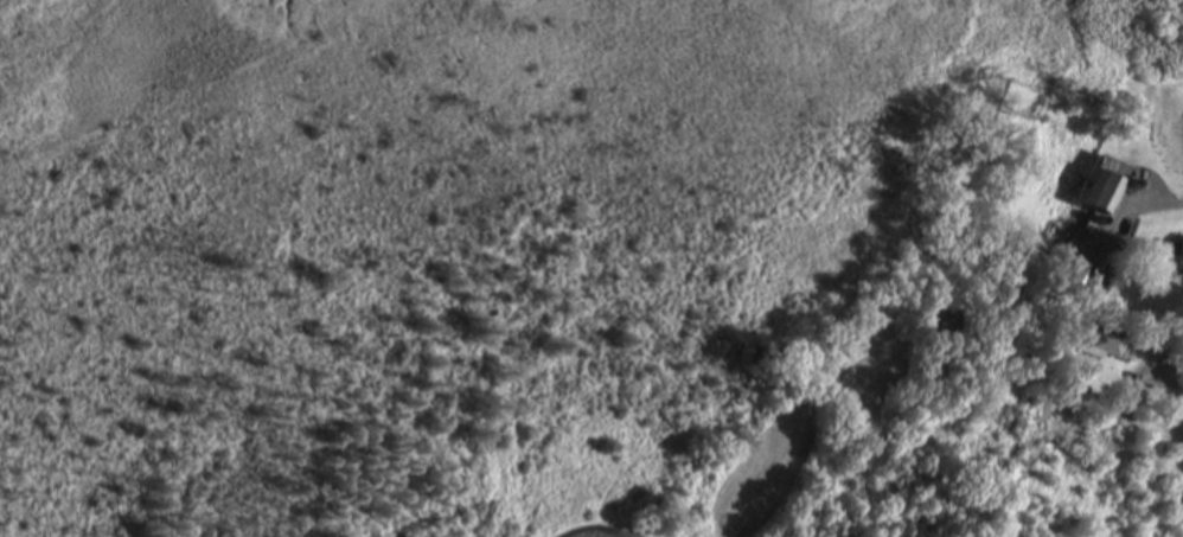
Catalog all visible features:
building: (1104, 187)
road: (1160, 209)
building: (1168, 263)
building: (1107, 349)
road: (1182, 379)

